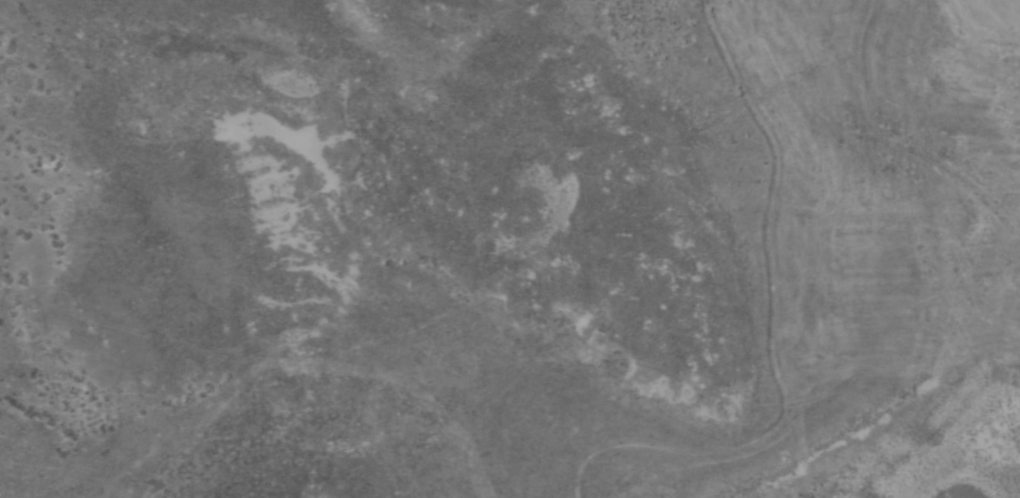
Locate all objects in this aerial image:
crop: (510, 249)
stadium: (997, 290)

